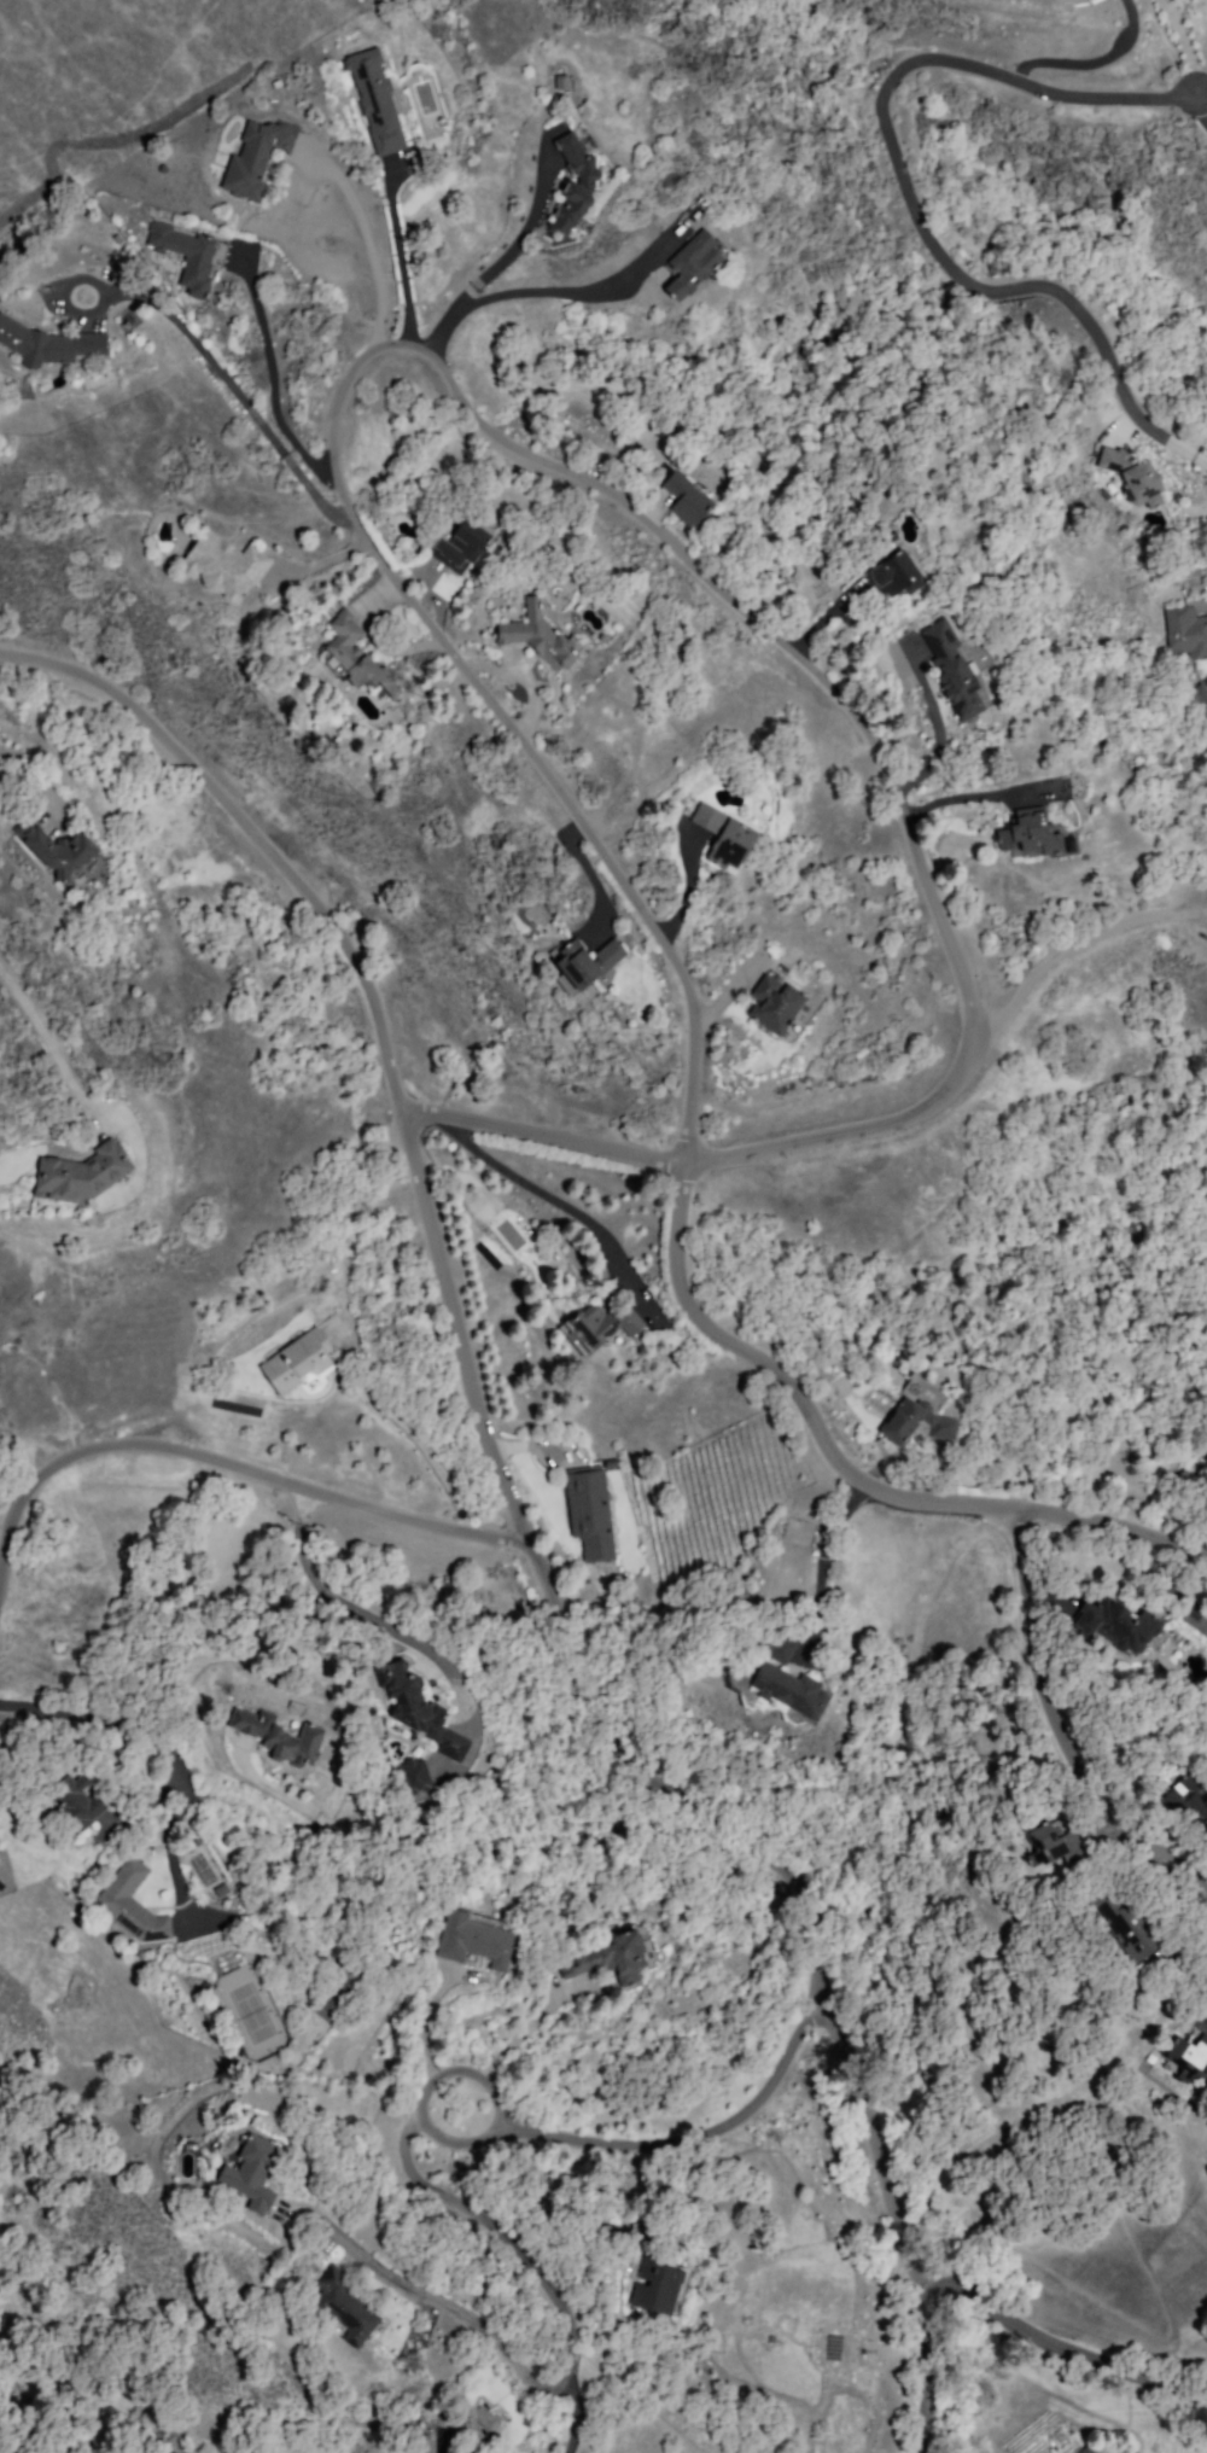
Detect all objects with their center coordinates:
road: (1191, 45)
road: (1086, 58)
road: (1205, 100)
building: (379, 103)
building: (253, 161)
building: (578, 182)
road: (910, 190)
road: (523, 232)
road: (363, 241)
building: (187, 252)
road: (400, 257)
building: (701, 260)
road: (548, 293)
building: (46, 342)
road: (272, 374)
road: (234, 392)
building: (1135, 474)
road: (616, 496)
building: (689, 501)
building: (462, 546)
building: (228, 565)
road: (321, 565)
building: (905, 573)
building: (1186, 628)
building: (542, 636)
building: (357, 652)
building: (962, 672)
building: (1197, 700)
road: (933, 727)
road: (36, 775)
road: (982, 799)
building: (1045, 833)
building: (730, 834)
building: (65, 849)
road: (1075, 942)
building: (588, 961)
building: (776, 998)
road: (52, 1049)
road: (544, 1135)
building: (87, 1175)
road: (546, 1193)
building: (603, 1321)
building: (299, 1362)
road: (387, 1418)
building: (920, 1423)
road: (496, 1433)
building: (1205, 1459)
road: (846, 1469)
road: (228, 1472)
building: (590, 1514)
building: (797, 1531)
road: (822, 1555)
building: (1136, 1631)
building: (792, 1649)
building: (797, 1685)
road: (1051, 1708)
building: (427, 1713)
road: (113, 1719)
road: (480, 1726)
building: (282, 1737)
building: (418, 1772)
building: (78, 1801)
building: (1186, 1802)
building: (1057, 1845)
road: (173, 1855)
building: (129, 1899)
building: (1141, 1933)
building: (480, 1944)
building: (620, 1963)
road: (425, 2032)
road: (526, 2040)
building: (1191, 2056)
road: (433, 2138)
road: (687, 2139)
building: (260, 2171)
road: (498, 2228)
road: (350, 2232)
building: (666, 2286)
building: (361, 2302)
building: (342, 2306)
road: (471, 2327)
road: (1067, 2353)
road: (923, 2354)
road: (571, 2422)
building: (1083, 2449)

